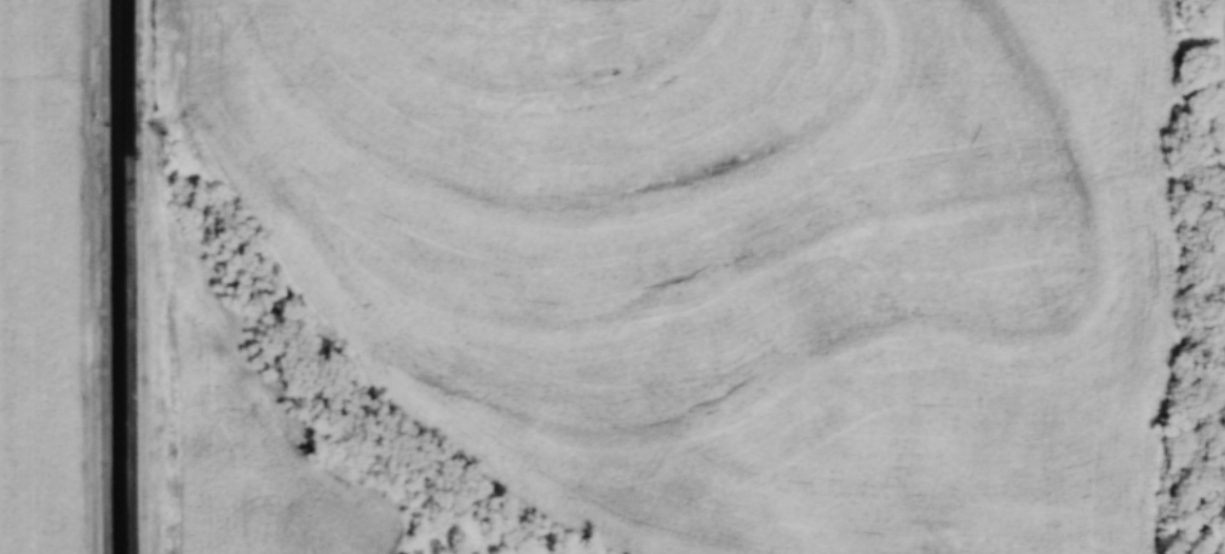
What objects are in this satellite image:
road: (122, 277)
crop: (42, 281)

